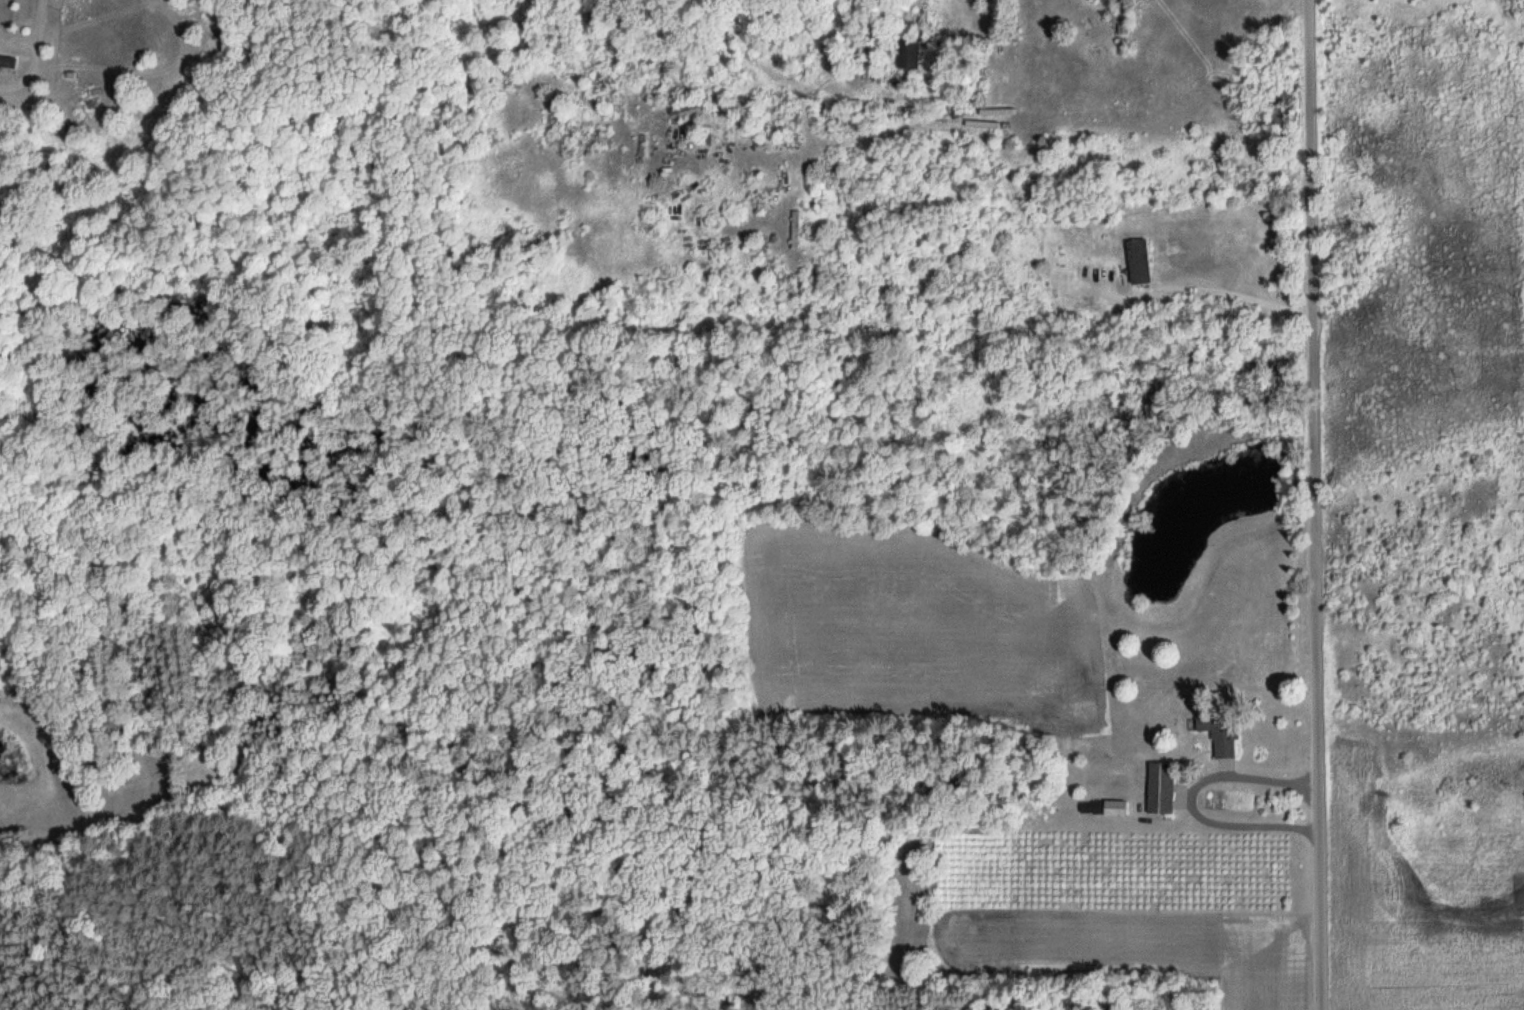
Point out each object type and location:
building: (1122, 17)
building: (909, 55)
building: (9, 63)
building: (1140, 262)
road: (1208, 288)
road: (1312, 505)
building: (1221, 734)
building: (1162, 788)
road: (1190, 798)
building: (1116, 808)

